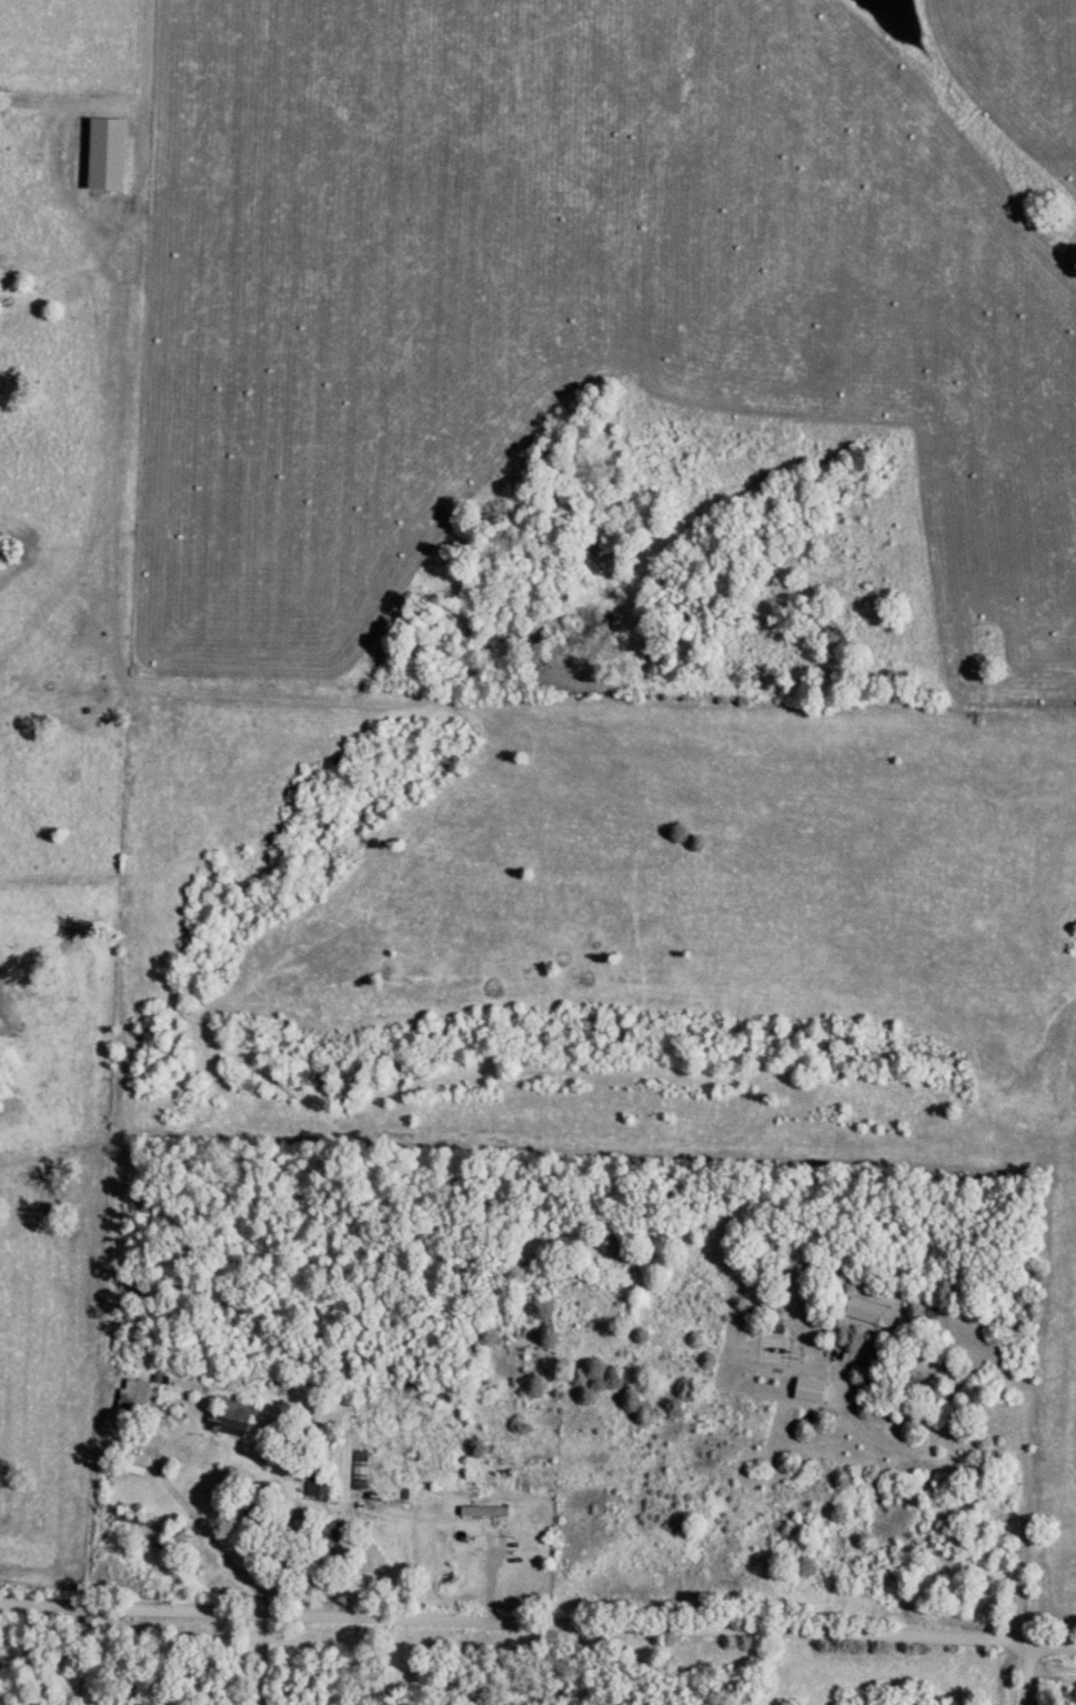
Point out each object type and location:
road: (145, 48)
building: (866, 1315)
building: (228, 1421)
road: (1010, 1421)
building: (413, 1458)
road: (218, 1528)
road: (537, 1629)
road: (1035, 1675)

